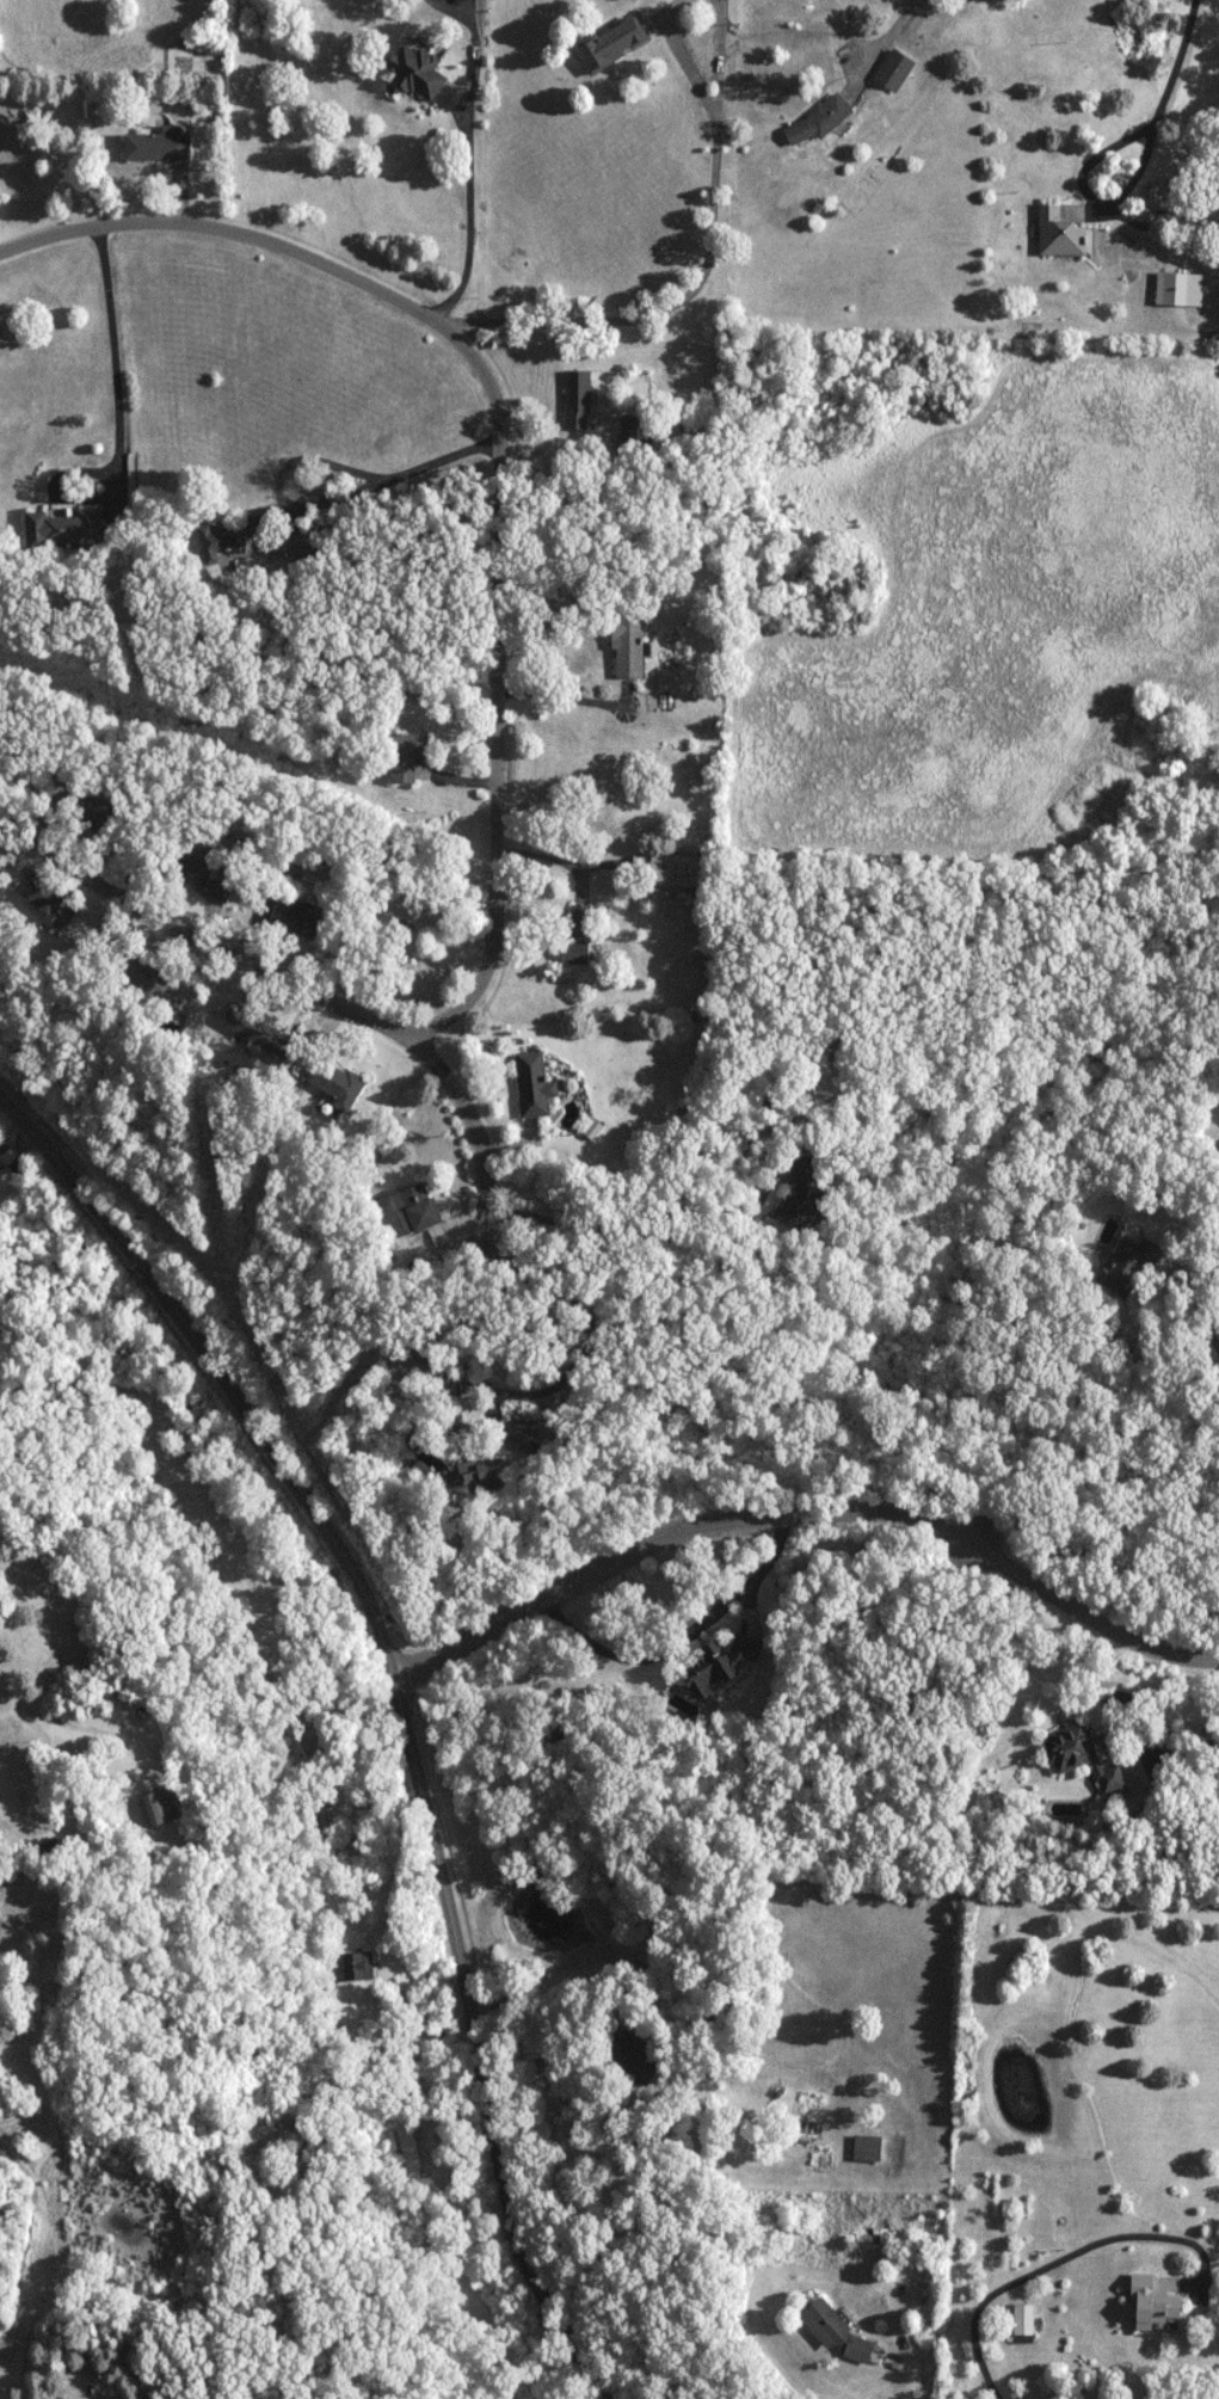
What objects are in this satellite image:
road: (886, 37)
building: (614, 43)
building: (894, 69)
building: (415, 70)
road: (1171, 94)
building: (818, 121)
building: (156, 147)
building: (1159, 196)
road: (464, 216)
building: (1059, 232)
road: (698, 275)
building: (1171, 288)
road: (110, 364)
building: (577, 400)
building: (636, 430)
road: (561, 443)
road: (503, 449)
road: (393, 473)
building: (64, 527)
building: (230, 535)
building: (307, 541)
building: (628, 647)
building: (0, 718)
building: (407, 755)
building: (199, 875)
building: (296, 917)
building: (579, 933)
building: (147, 978)
road: (300, 984)
building: (250, 1028)
building: (331, 1079)
building: (534, 1085)
building: (801, 1194)
building: (420, 1212)
road: (712, 1237)
building: (1128, 1266)
road: (1194, 1303)
road: (552, 1383)
building: (522, 1435)
building: (479, 1478)
road: (815, 1494)
building: (718, 1663)
road: (413, 1708)
road: (1182, 1747)
building: (1081, 1757)
building: (158, 1808)
building: (321, 1817)
building: (50, 1847)
building: (353, 1966)
building: (630, 2055)
road: (564, 2102)
building: (408, 2147)
building: (867, 2148)
road: (1032, 2272)
building: (1152, 2305)
building: (1020, 2323)
building: (835, 2330)
road: (907, 2383)

